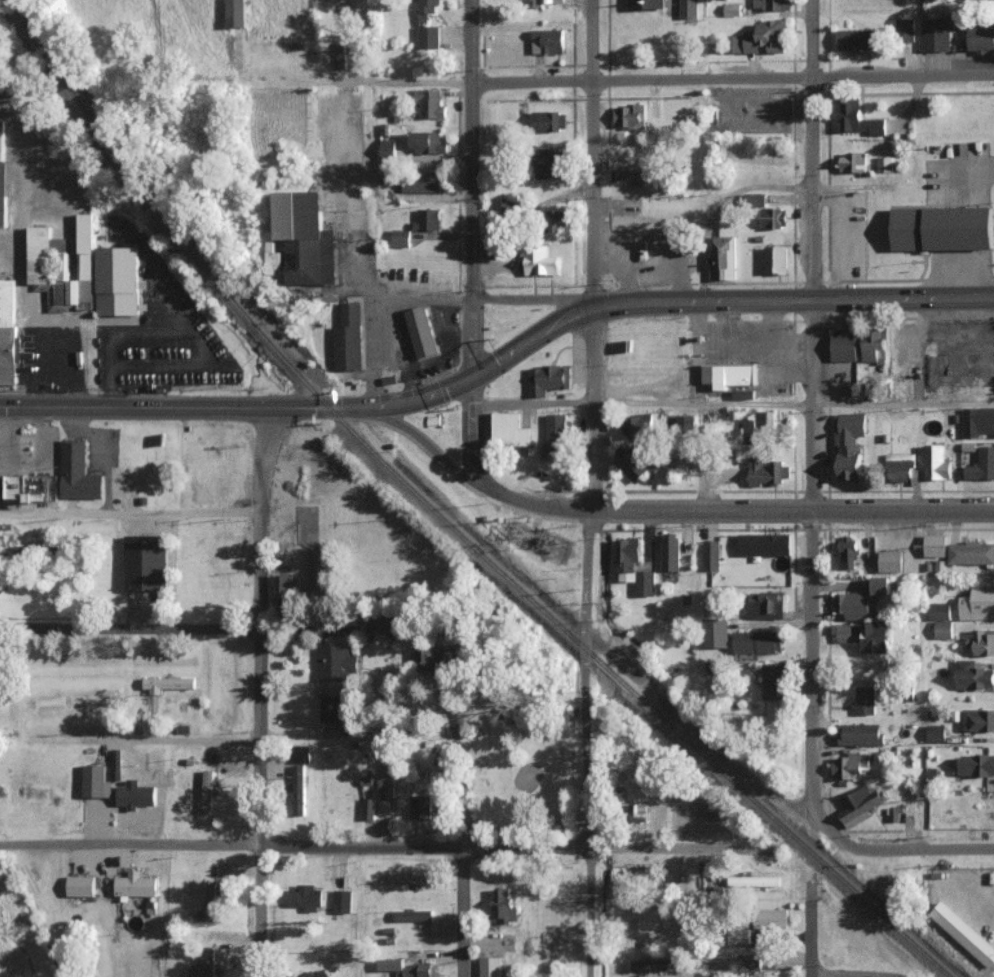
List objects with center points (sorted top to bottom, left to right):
building: (979, 0)
building: (545, 2)
building: (648, 4)
building: (773, 4)
building: (427, 8)
building: (689, 8)
building: (732, 9)
building: (236, 13)
building: (905, 30)
building: (936, 34)
building: (429, 37)
building: (763, 37)
road: (352, 38)
building: (857, 39)
building: (980, 39)
building: (548, 41)
building: (341, 55)
road: (731, 78)
road: (411, 81)
building: (431, 103)
building: (655, 112)
building: (629, 116)
building: (857, 118)
building: (549, 121)
building: (428, 142)
building: (388, 150)
building: (546, 162)
building: (854, 162)
building: (885, 164)
building: (633, 174)
building: (3, 178)
building: (429, 180)
road: (468, 185)
building: (755, 199)
building: (774, 217)
building: (428, 219)
building: (554, 220)
building: (942, 229)
building: (401, 238)
building: (303, 241)
building: (490, 250)
building: (723, 254)
road: (809, 256)
road: (592, 257)
building: (776, 259)
building: (540, 260)
building: (62, 266)
road: (355, 270)
building: (119, 281)
road: (793, 294)
road: (383, 310)
road: (772, 320)
road: (722, 321)
building: (8, 332)
building: (425, 332)
parking lot: (161, 333)
road: (180, 334)
parking lot: (370, 336)
road: (459, 338)
building: (350, 339)
building: (873, 343)
building: (844, 345)
road: (753, 346)
road: (451, 348)
road: (917, 349)
parking lot: (754, 350)
parking lot: (438, 367)
road: (406, 368)
road: (681, 370)
traffic signals: (468, 371)
building: (732, 376)
building: (550, 380)
building: (745, 395)
road: (531, 403)
road: (701, 403)
road: (903, 404)
road: (41, 406)
road: (348, 407)
building: (685, 421)
building: (978, 421)
building: (637, 425)
building: (758, 427)
road: (469, 428)
building: (511, 430)
building: (556, 433)
building: (849, 444)
parking lot: (104, 447)
parking lot: (28, 449)
road: (102, 454)
road: (260, 459)
building: (686, 461)
road: (3, 463)
building: (937, 463)
road: (26, 464)
building: (631, 464)
building: (982, 465)
building: (900, 467)
building: (80, 472)
building: (768, 473)
road: (54, 486)
road: (3, 487)
building: (29, 490)
road: (129, 512)
road: (668, 514)
railway: (449, 518)
power substation: (540, 542)
building: (766, 543)
building: (936, 544)
building: (670, 551)
building: (848, 552)
building: (971, 552)
building: (711, 554)
building: (890, 560)
building: (148, 563)
building: (633, 565)
building: (318, 569)
building: (882, 584)
building: (281, 588)
building: (856, 604)
building: (978, 604)
building: (766, 605)
building: (940, 610)
road: (178, 629)
building: (944, 629)
building: (716, 631)
building: (848, 632)
building: (876, 636)
building: (758, 641)
building: (982, 641)
building: (435, 657)
building: (336, 661)
road: (813, 675)
building: (974, 675)
building: (773, 680)
building: (168, 682)
building: (865, 699)
building: (330, 707)
building: (978, 719)
building: (936, 732)
building: (860, 733)
road: (178, 738)
road: (259, 743)
road: (584, 745)
building: (117, 763)
building: (977, 764)
building: (846, 766)
building: (389, 772)
building: (96, 781)
building: (298, 789)
building: (207, 791)
building: (136, 793)
building: (860, 804)
building: (384, 806)
building: (421, 806)
building: (369, 807)
building: (638, 811)
building: (895, 813)
road: (386, 846)
road: (909, 847)
building: (411, 878)
building: (754, 880)
building: (135, 884)
building: (81, 885)
building: (305, 896)
building: (343, 900)
building: (208, 904)
building: (503, 906)
road: (462, 912)
building: (413, 915)
building: (772, 917)
road: (811, 933)
building: (740, 934)
building: (965, 935)
building: (750, 962)
building: (0, 964)
building: (204, 964)
building: (655, 964)
building: (490, 966)
building: (405, 968)
road: (855, 972)
building: (315, 973)

